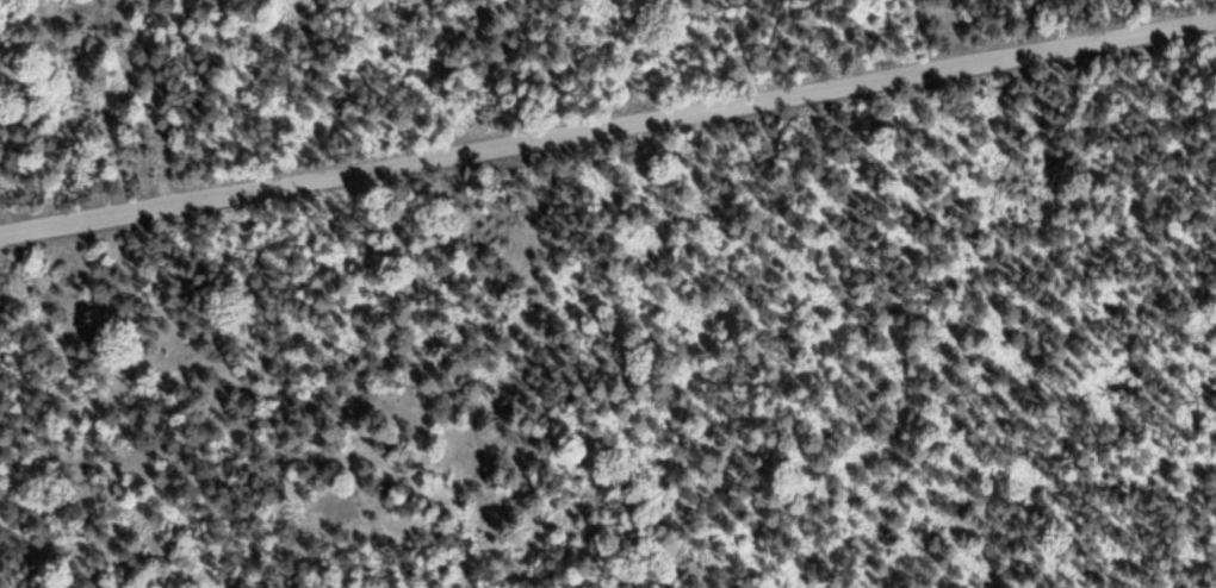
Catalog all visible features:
road: (608, 129)

